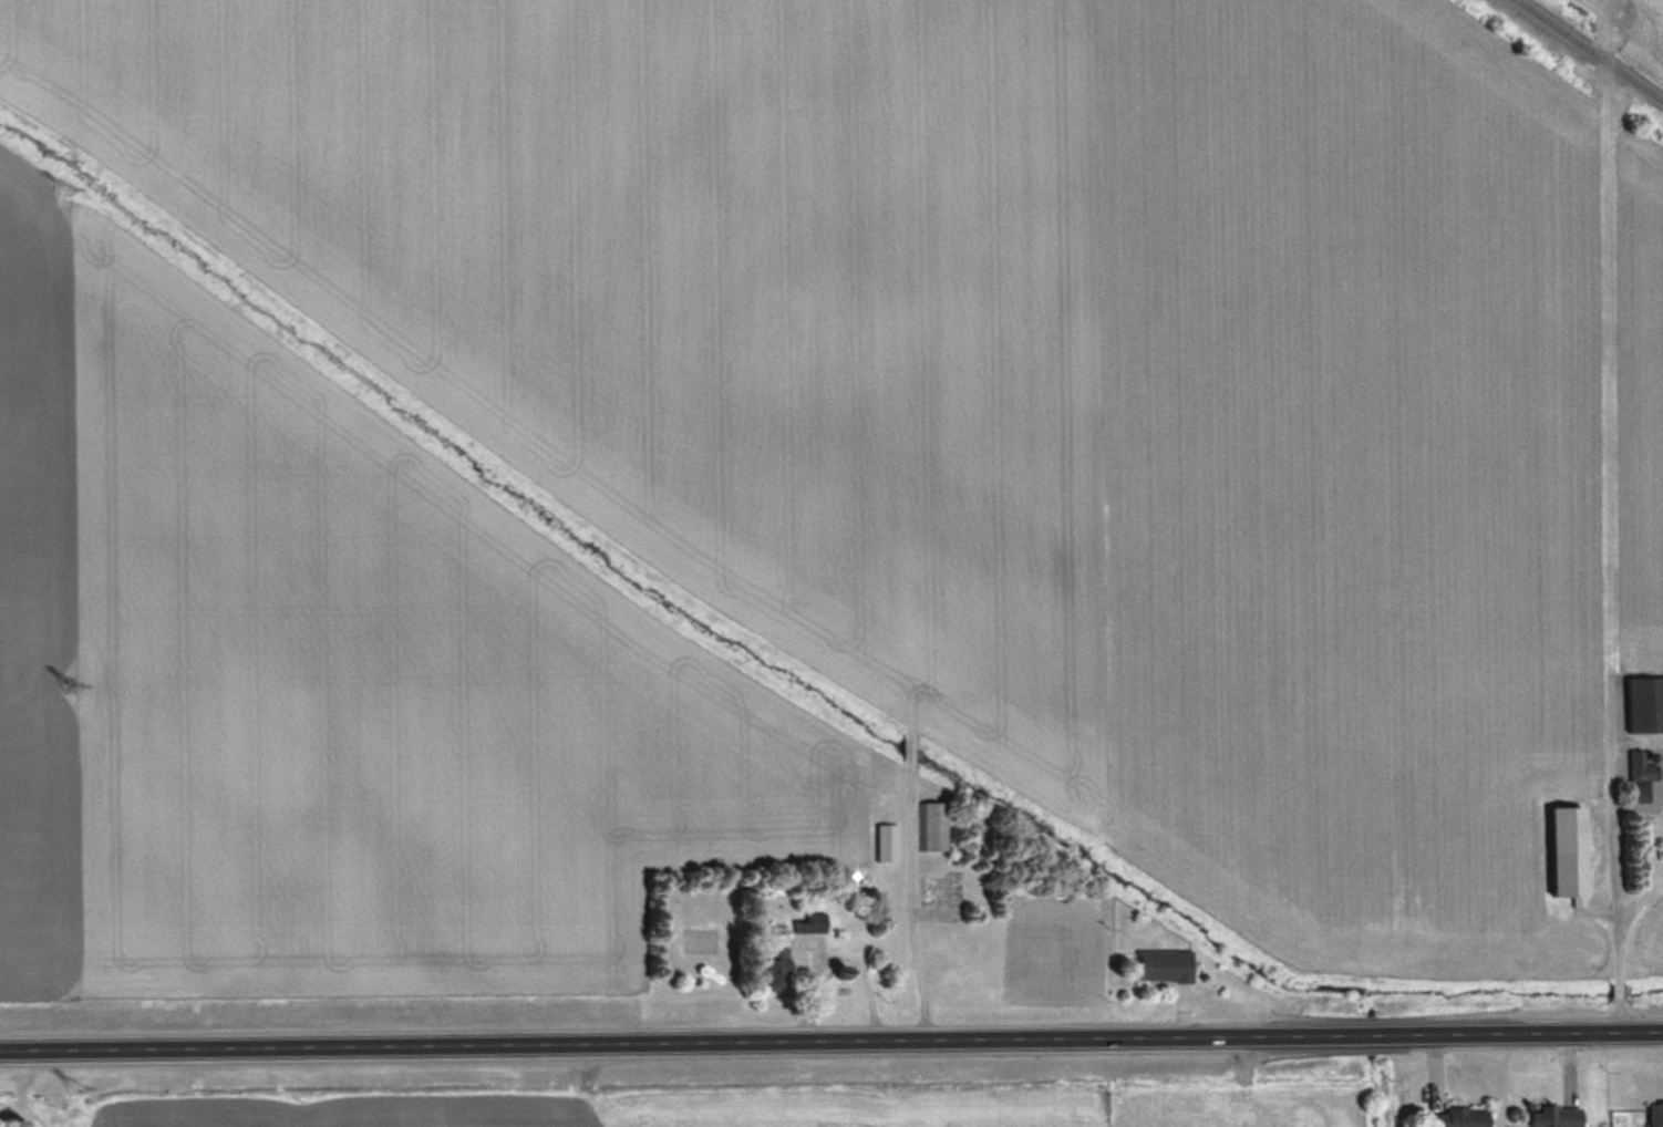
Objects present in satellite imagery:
railway: (1589, 50)
power tower: (65, 187)
building: (65, 188)
power tower: (73, 692)
building: (1646, 704)
building: (1641, 776)
building: (933, 825)
building: (888, 840)
building: (1570, 851)
building: (813, 922)
building: (777, 961)
building: (1165, 963)
road: (830, 1043)
power tower: (81, 1090)
building: (1655, 1113)
building: (1556, 1116)
building: (1458, 1117)

